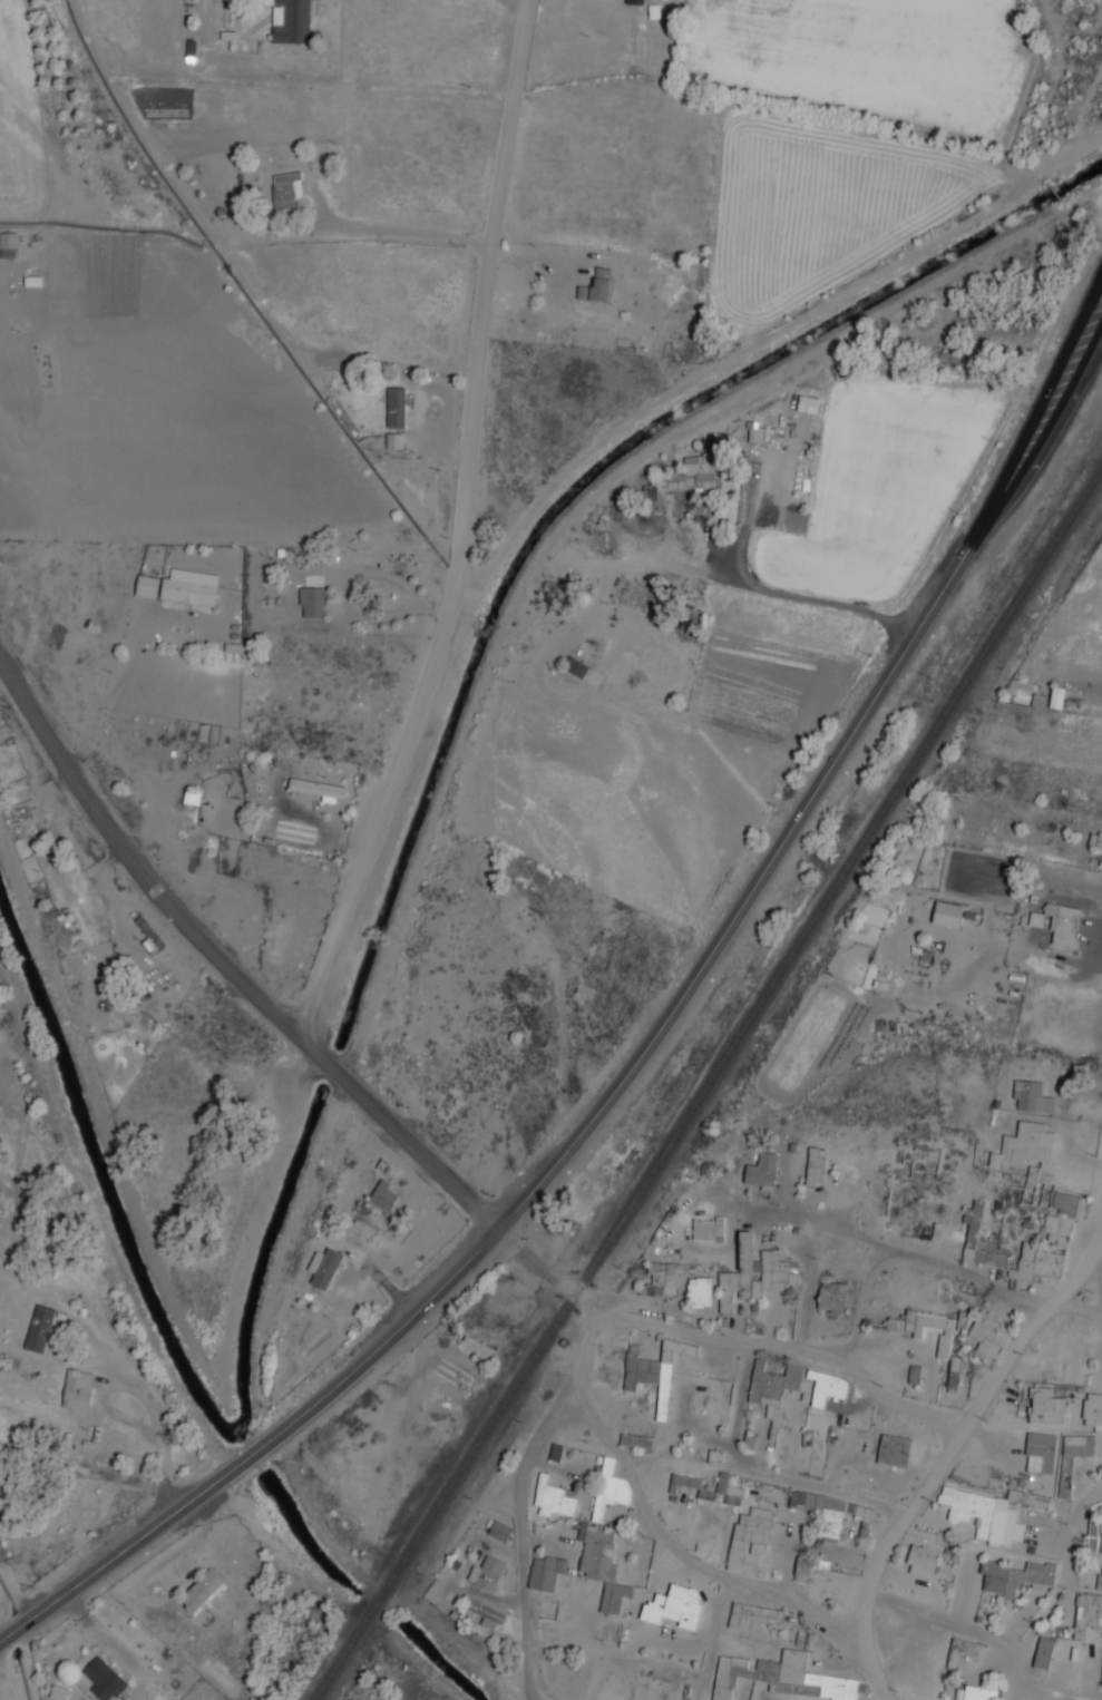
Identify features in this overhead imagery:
building: (634, 1)
building: (290, 20)
building: (286, 190)
building: (8, 245)
building: (596, 286)
building: (808, 403)
building: (396, 407)
building: (755, 433)
building: (393, 440)
road: (286, 450)
building: (650, 497)
road: (468, 531)
building: (146, 586)
building: (191, 589)
building: (312, 602)
building: (575, 666)
building: (1056, 697)
road: (848, 737)
building: (316, 788)
road: (113, 827)
building: (1095, 840)
building: (946, 913)
building: (1035, 919)
building: (1062, 921)
building: (149, 936)
railway: (708, 1082)
building: (1031, 1095)
road: (408, 1136)
building: (1024, 1144)
building: (813, 1166)
building: (762, 1171)
building: (382, 1195)
building: (1069, 1203)
building: (1051, 1222)
building: (708, 1228)
building: (362, 1229)
road: (874, 1240)
building: (994, 1248)
road: (1099, 1259)
building: (323, 1268)
building: (754, 1274)
building: (653, 1282)
building: (700, 1292)
building: (831, 1297)
road: (1071, 1308)
road: (417, 1310)
building: (962, 1319)
building: (39, 1328)
building: (926, 1328)
building: (987, 1333)
road: (774, 1344)
building: (477, 1347)
building: (954, 1371)
building: (914, 1374)
building: (651, 1377)
building: (776, 1386)
building: (826, 1387)
building: (76, 1389)
road: (134, 1391)
road: (148, 1398)
building: (1045, 1406)
building: (1093, 1410)
road: (739, 1414)
building: (96, 1433)
building: (635, 1440)
building: (88, 1443)
building: (1077, 1445)
building: (904, 1450)
building: (555, 1452)
road: (948, 1453)
building: (1040, 1453)
road: (767, 1476)
building: (1065, 1476)
building: (683, 1481)
building: (609, 1488)
building: (728, 1489)
building: (704, 1495)
building: (1026, 1497)
building: (555, 1498)
building: (830, 1513)
building: (983, 1514)
road: (654, 1525)
building: (499, 1531)
road: (518, 1536)
road: (128, 1541)
building: (750, 1541)
building: (1094, 1542)
building: (596, 1553)
building: (921, 1562)
building: (809, 1566)
building: (545, 1572)
building: (486, 1573)
building: (1014, 1576)
building: (1099, 1581)
road: (1080, 1586)
building: (201, 1591)
road: (1054, 1592)
building: (614, 1596)
building: (673, 1605)
building: (486, 1613)
building: (750, 1616)
road: (948, 1621)
road: (714, 1639)
road: (612, 1648)
building: (1044, 1652)
building: (782, 1677)
building: (104, 1679)
building: (59, 1691)
building: (978, 1692)
road: (1049, 1693)

